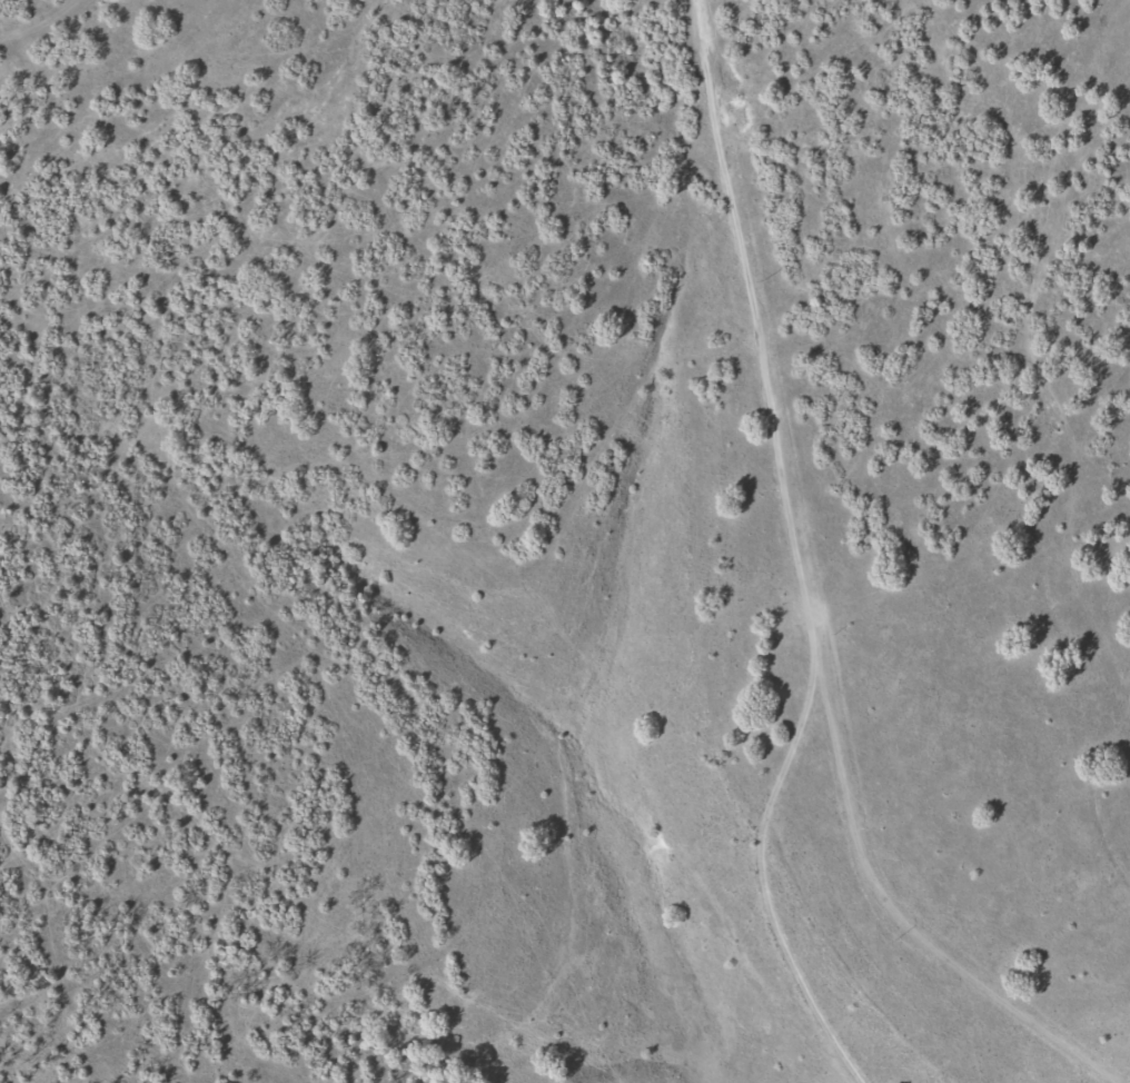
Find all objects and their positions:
road: (806, 588)

